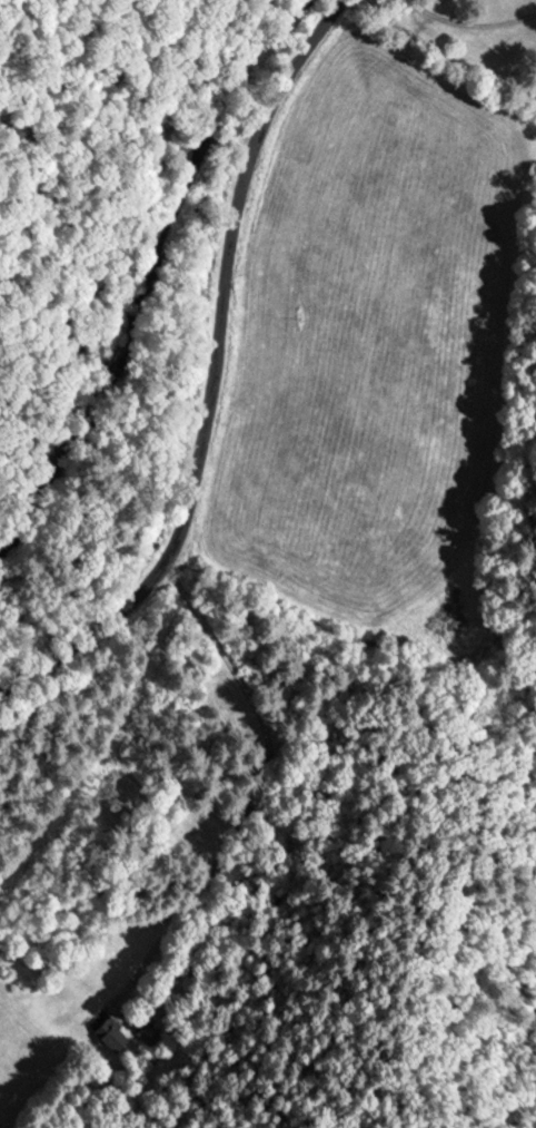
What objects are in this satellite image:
road: (467, 27)
road: (208, 371)
road: (250, 788)
building: (143, 1030)
building: (109, 1034)

